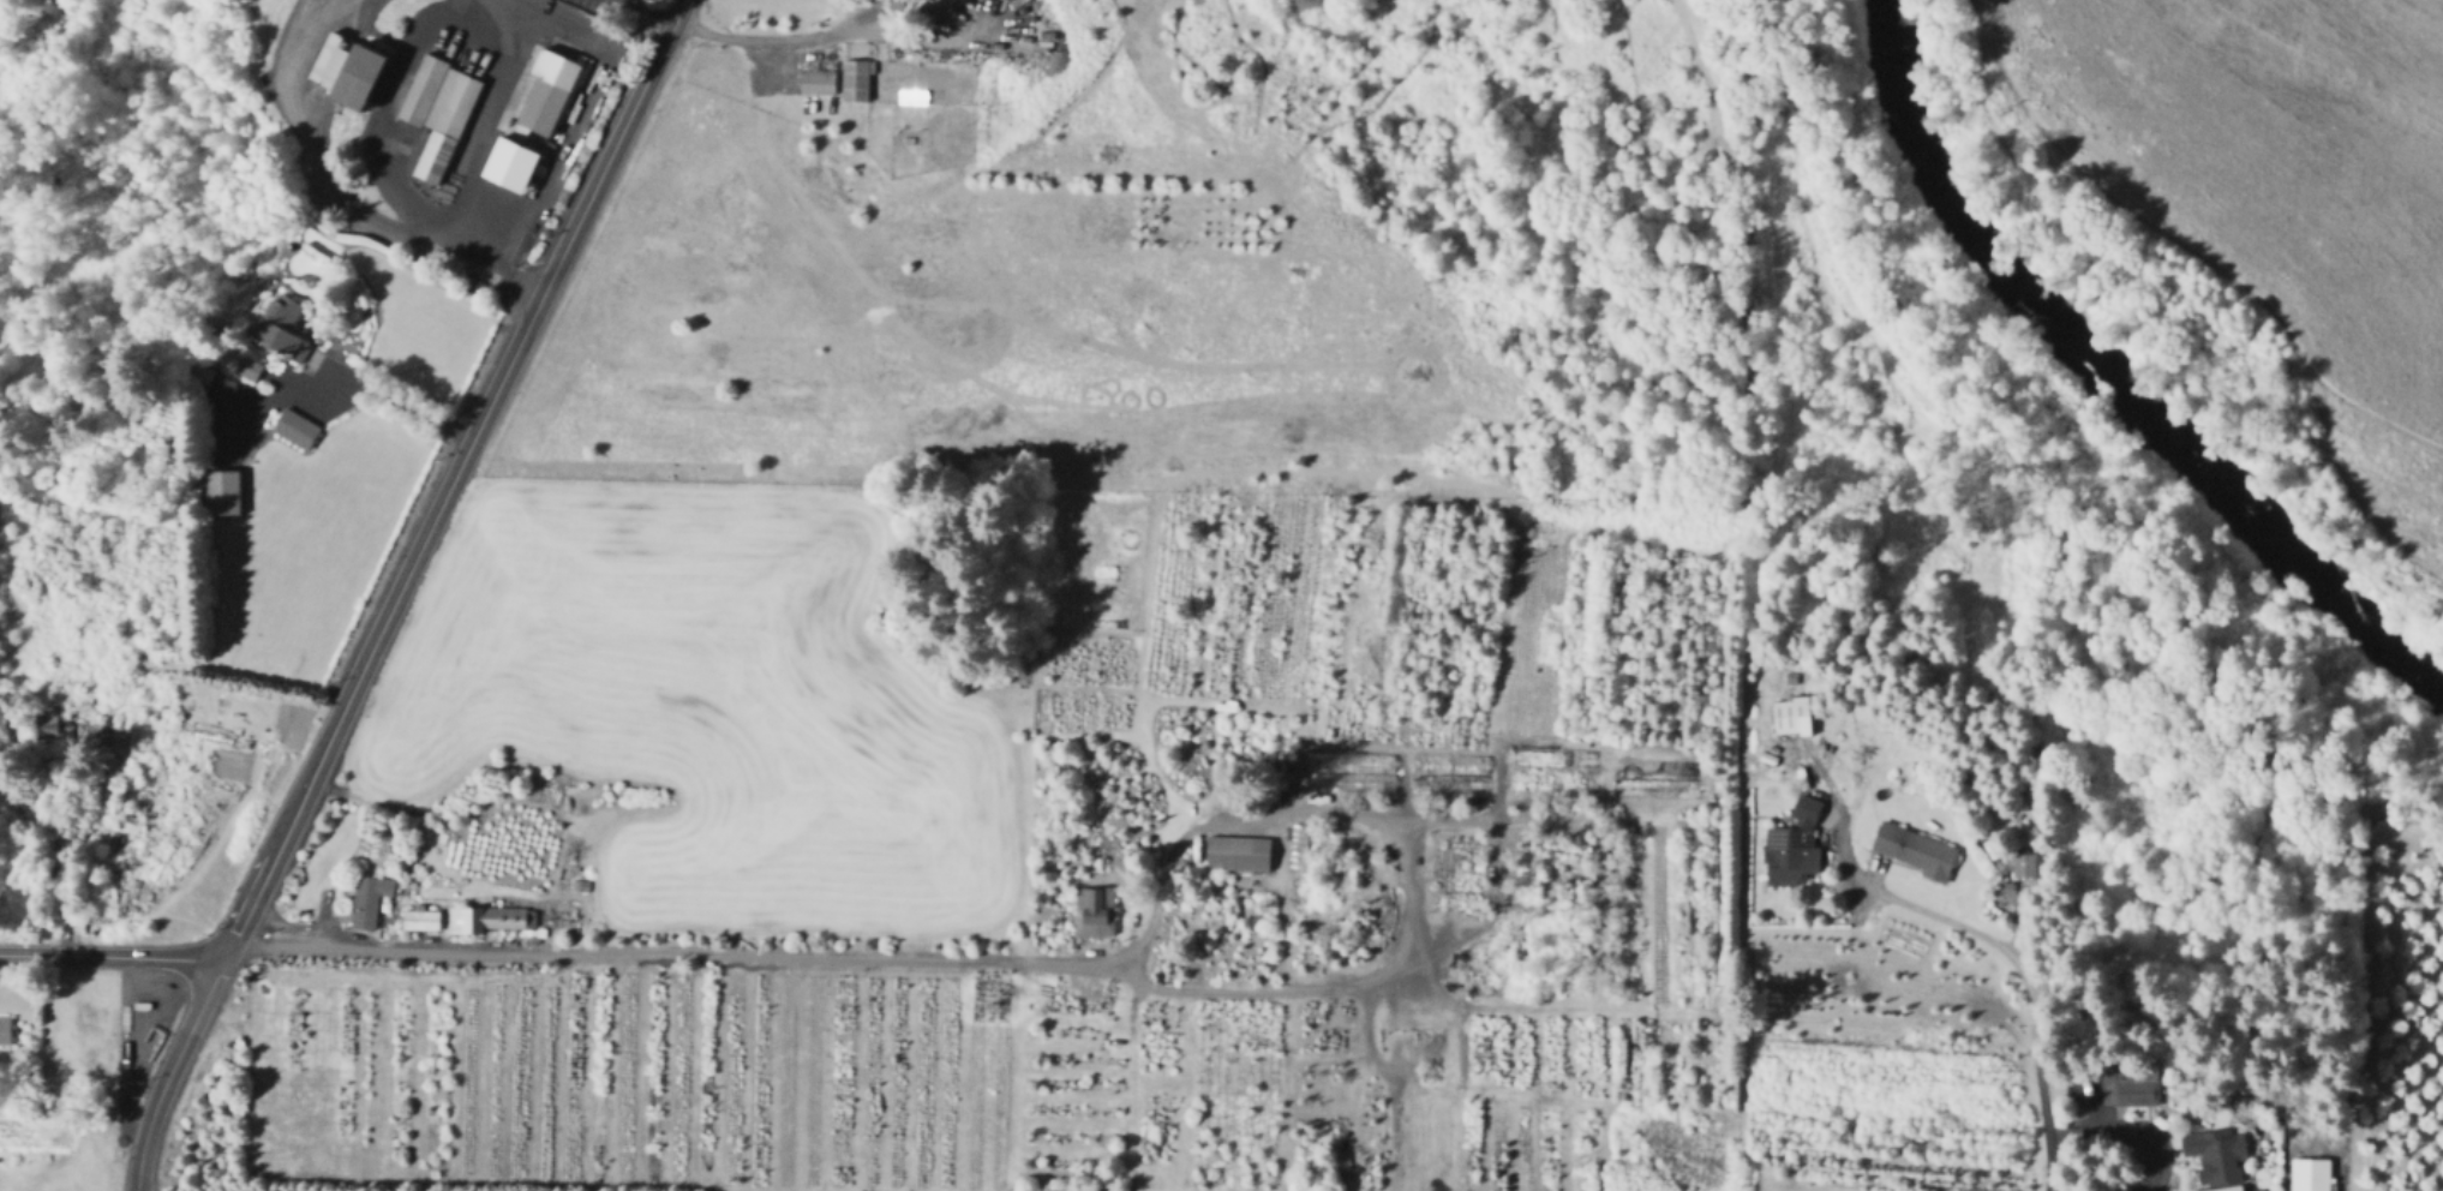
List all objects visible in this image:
road: (648, 11)
road: (851, 22)
road: (408, 50)
building: (340, 65)
building: (820, 77)
building: (857, 79)
building: (549, 94)
building: (442, 110)
road: (490, 132)
road: (555, 155)
building: (510, 162)
road: (321, 175)
road: (2188, 241)
road: (510, 282)
road: (1323, 299)
building: (285, 328)
building: (250, 366)
building: (204, 371)
river: (2113, 381)
road: (334, 387)
building: (298, 427)
building: (164, 453)
road: (453, 479)
building: (226, 493)
building: (1, 626)
building: (53, 681)
building: (1221, 711)
building: (1790, 719)
building: (54, 723)
building: (1556, 759)
building: (1371, 764)
building: (1327, 765)
building: (1448, 766)
building: (1655, 770)
building: (1553, 784)
building: (1348, 785)
building: (1448, 786)
building: (1655, 790)
building: (1792, 851)
building: (1240, 852)
building: (1915, 855)
building: (2024, 869)
building: (371, 900)
building: (1096, 911)
building: (423, 918)
building: (490, 918)
road: (1995, 945)
road: (112, 954)
road: (1082, 975)
building: (6, 1030)
building: (2162, 1058)
road: (169, 1071)
building: (2132, 1088)
road: (2126, 1125)
building: (2220, 1155)
building: (2311, 1174)
building: (2222, 1187)

